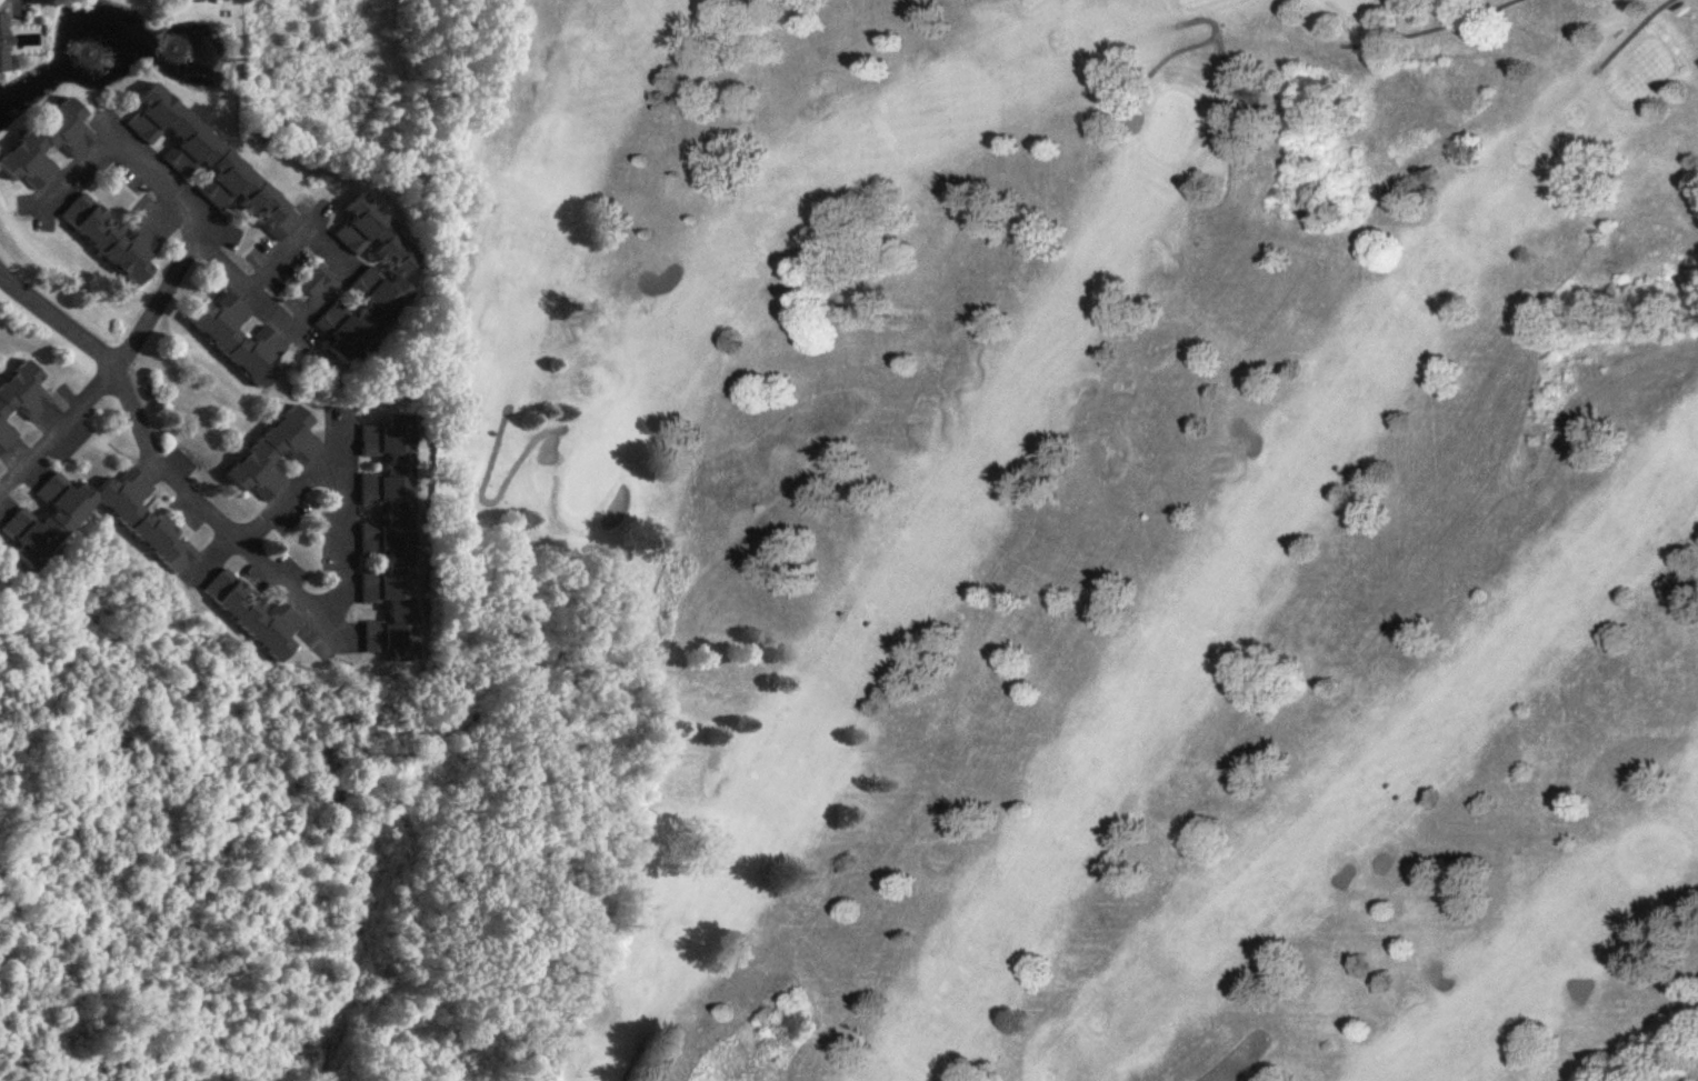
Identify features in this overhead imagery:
building: (200, 0)
building: (4, 44)
building: (48, 146)
building: (211, 167)
road: (167, 200)
building: (113, 241)
road: (327, 252)
building: (369, 281)
building: (314, 282)
road: (152, 296)
building: (240, 341)
road: (100, 354)
building: (20, 401)
road: (58, 429)
building: (276, 457)
road: (187, 489)
road: (286, 492)
building: (138, 520)
park: (1096, 524)
building: (390, 538)
road: (339, 591)
building: (254, 618)

